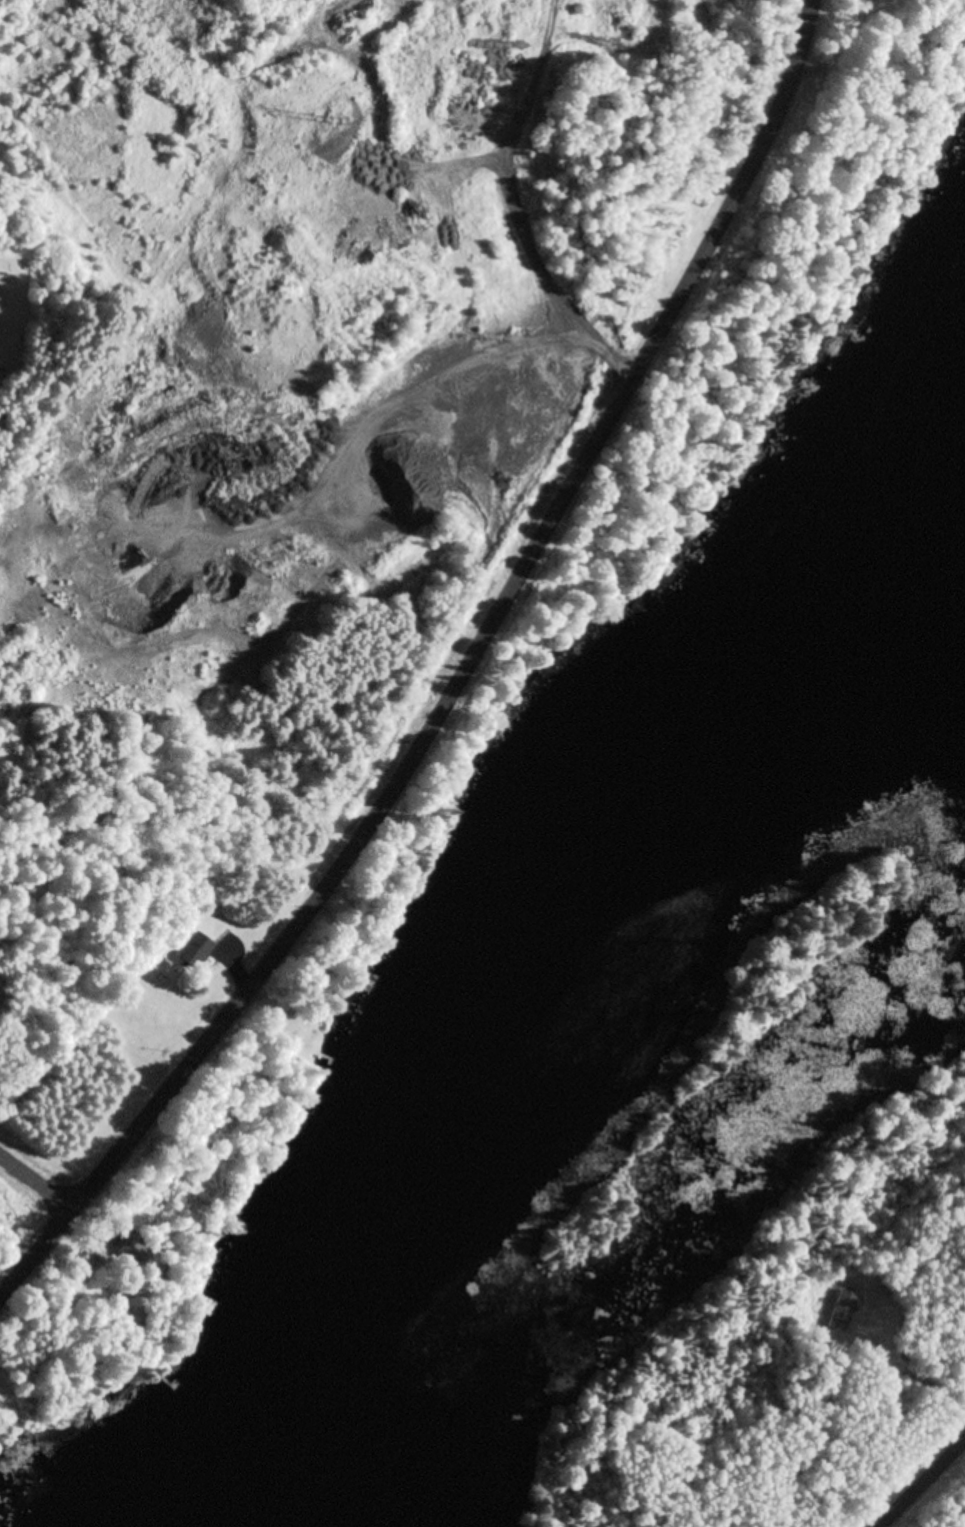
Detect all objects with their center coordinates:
power tower: (336, 118)
park: (311, 371)
road: (456, 682)
river: (545, 935)
building: (194, 952)
road: (34, 1191)
building: (127, 1247)
building: (842, 1312)
road: (921, 1483)

